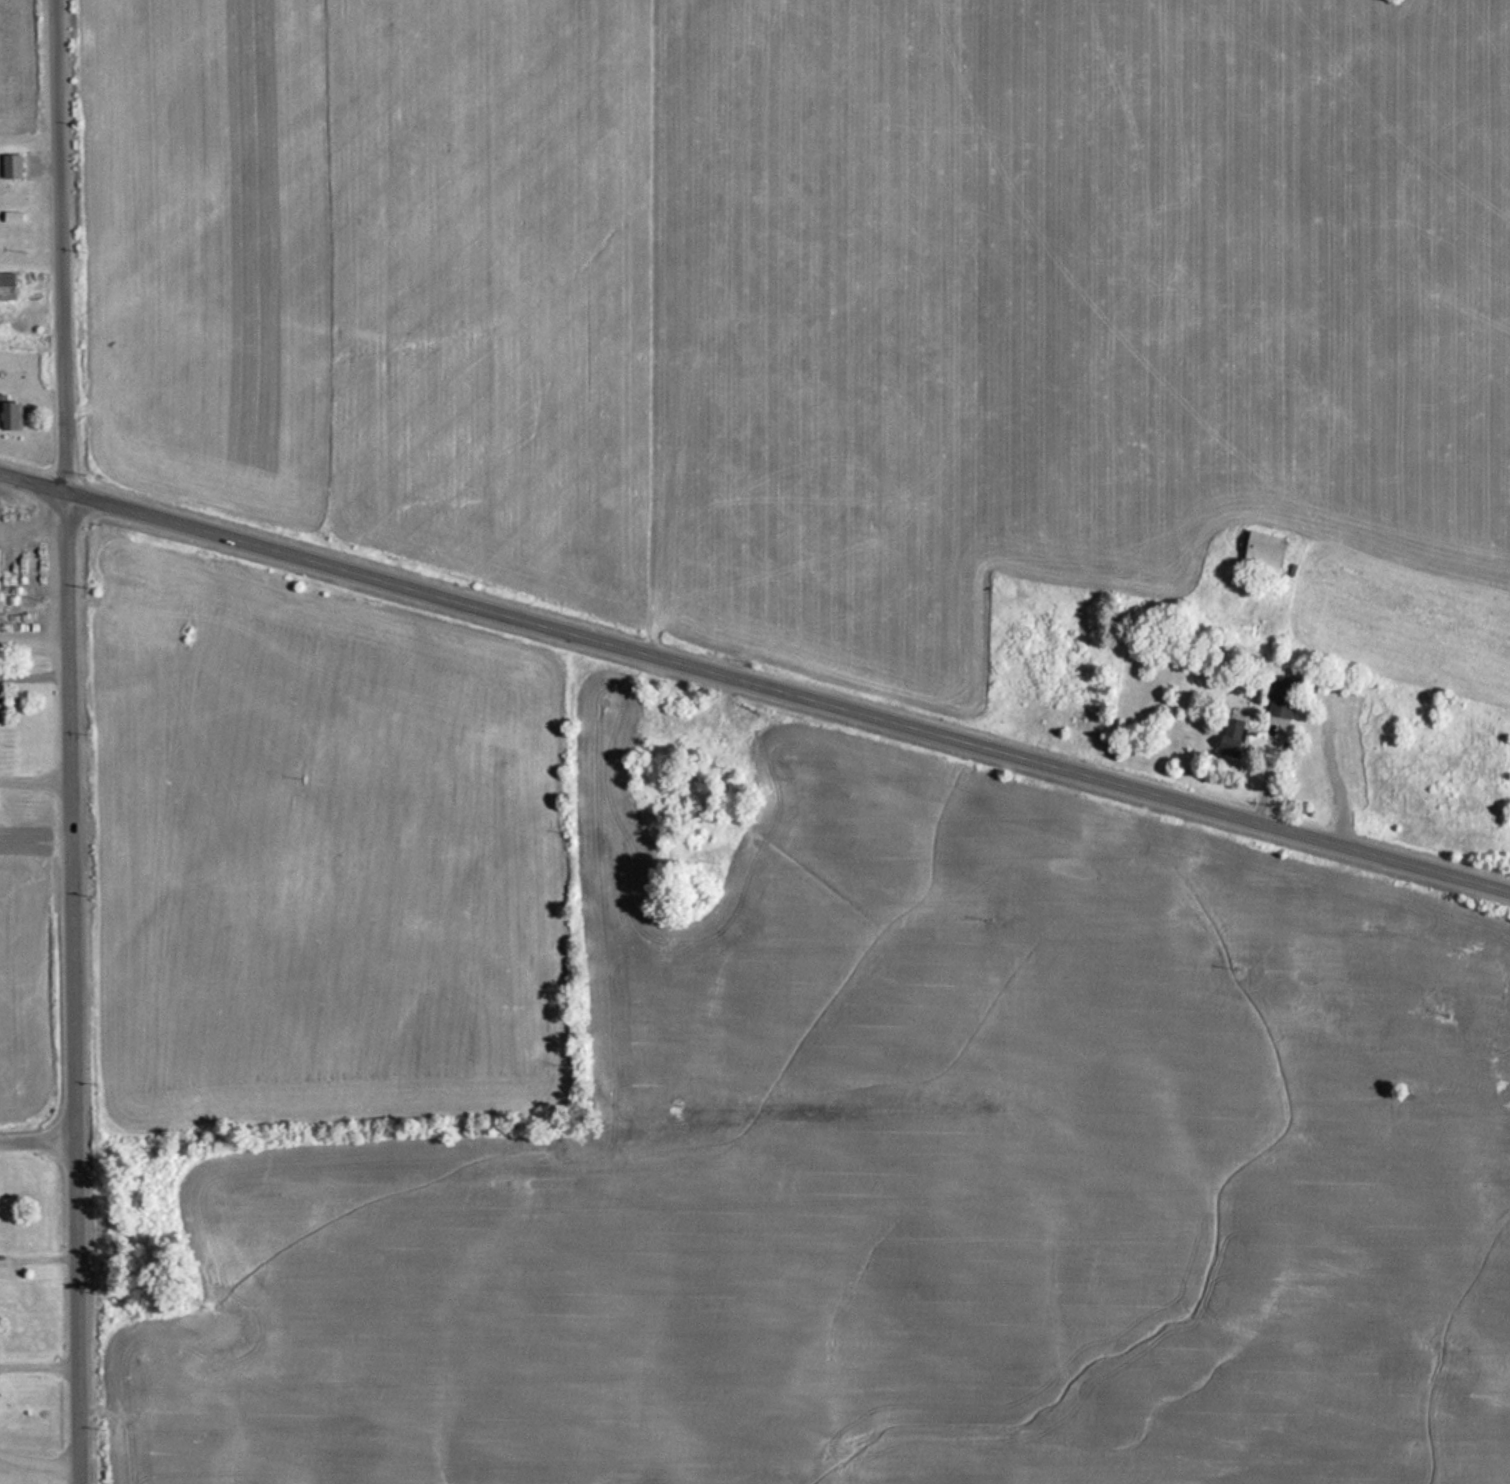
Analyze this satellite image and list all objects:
building: (878, 59)
building: (781, 84)
building: (9, 164)
road: (63, 246)
building: (5, 286)
building: (8, 413)
building: (770, 415)
building: (1259, 551)
road: (754, 683)
building: (1280, 696)
building: (1229, 737)
road: (73, 988)
road: (38, 1143)

